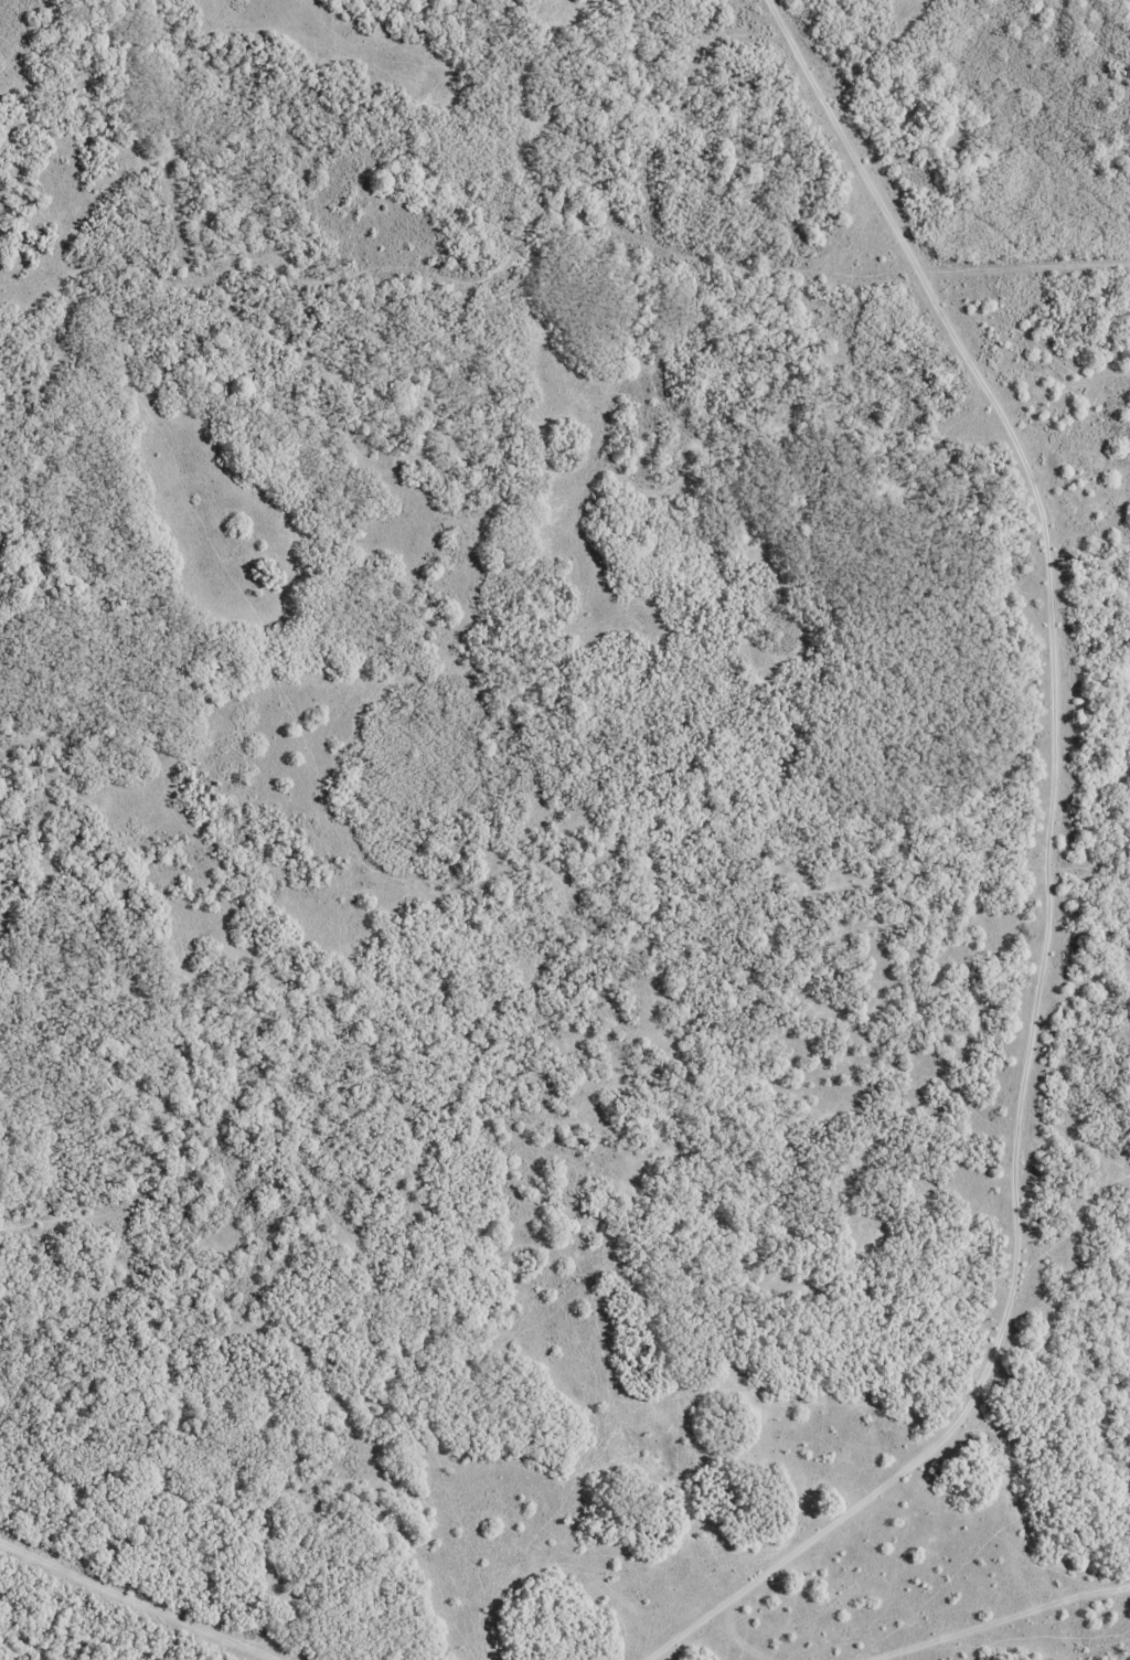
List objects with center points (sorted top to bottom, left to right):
road: (126, 1607)

